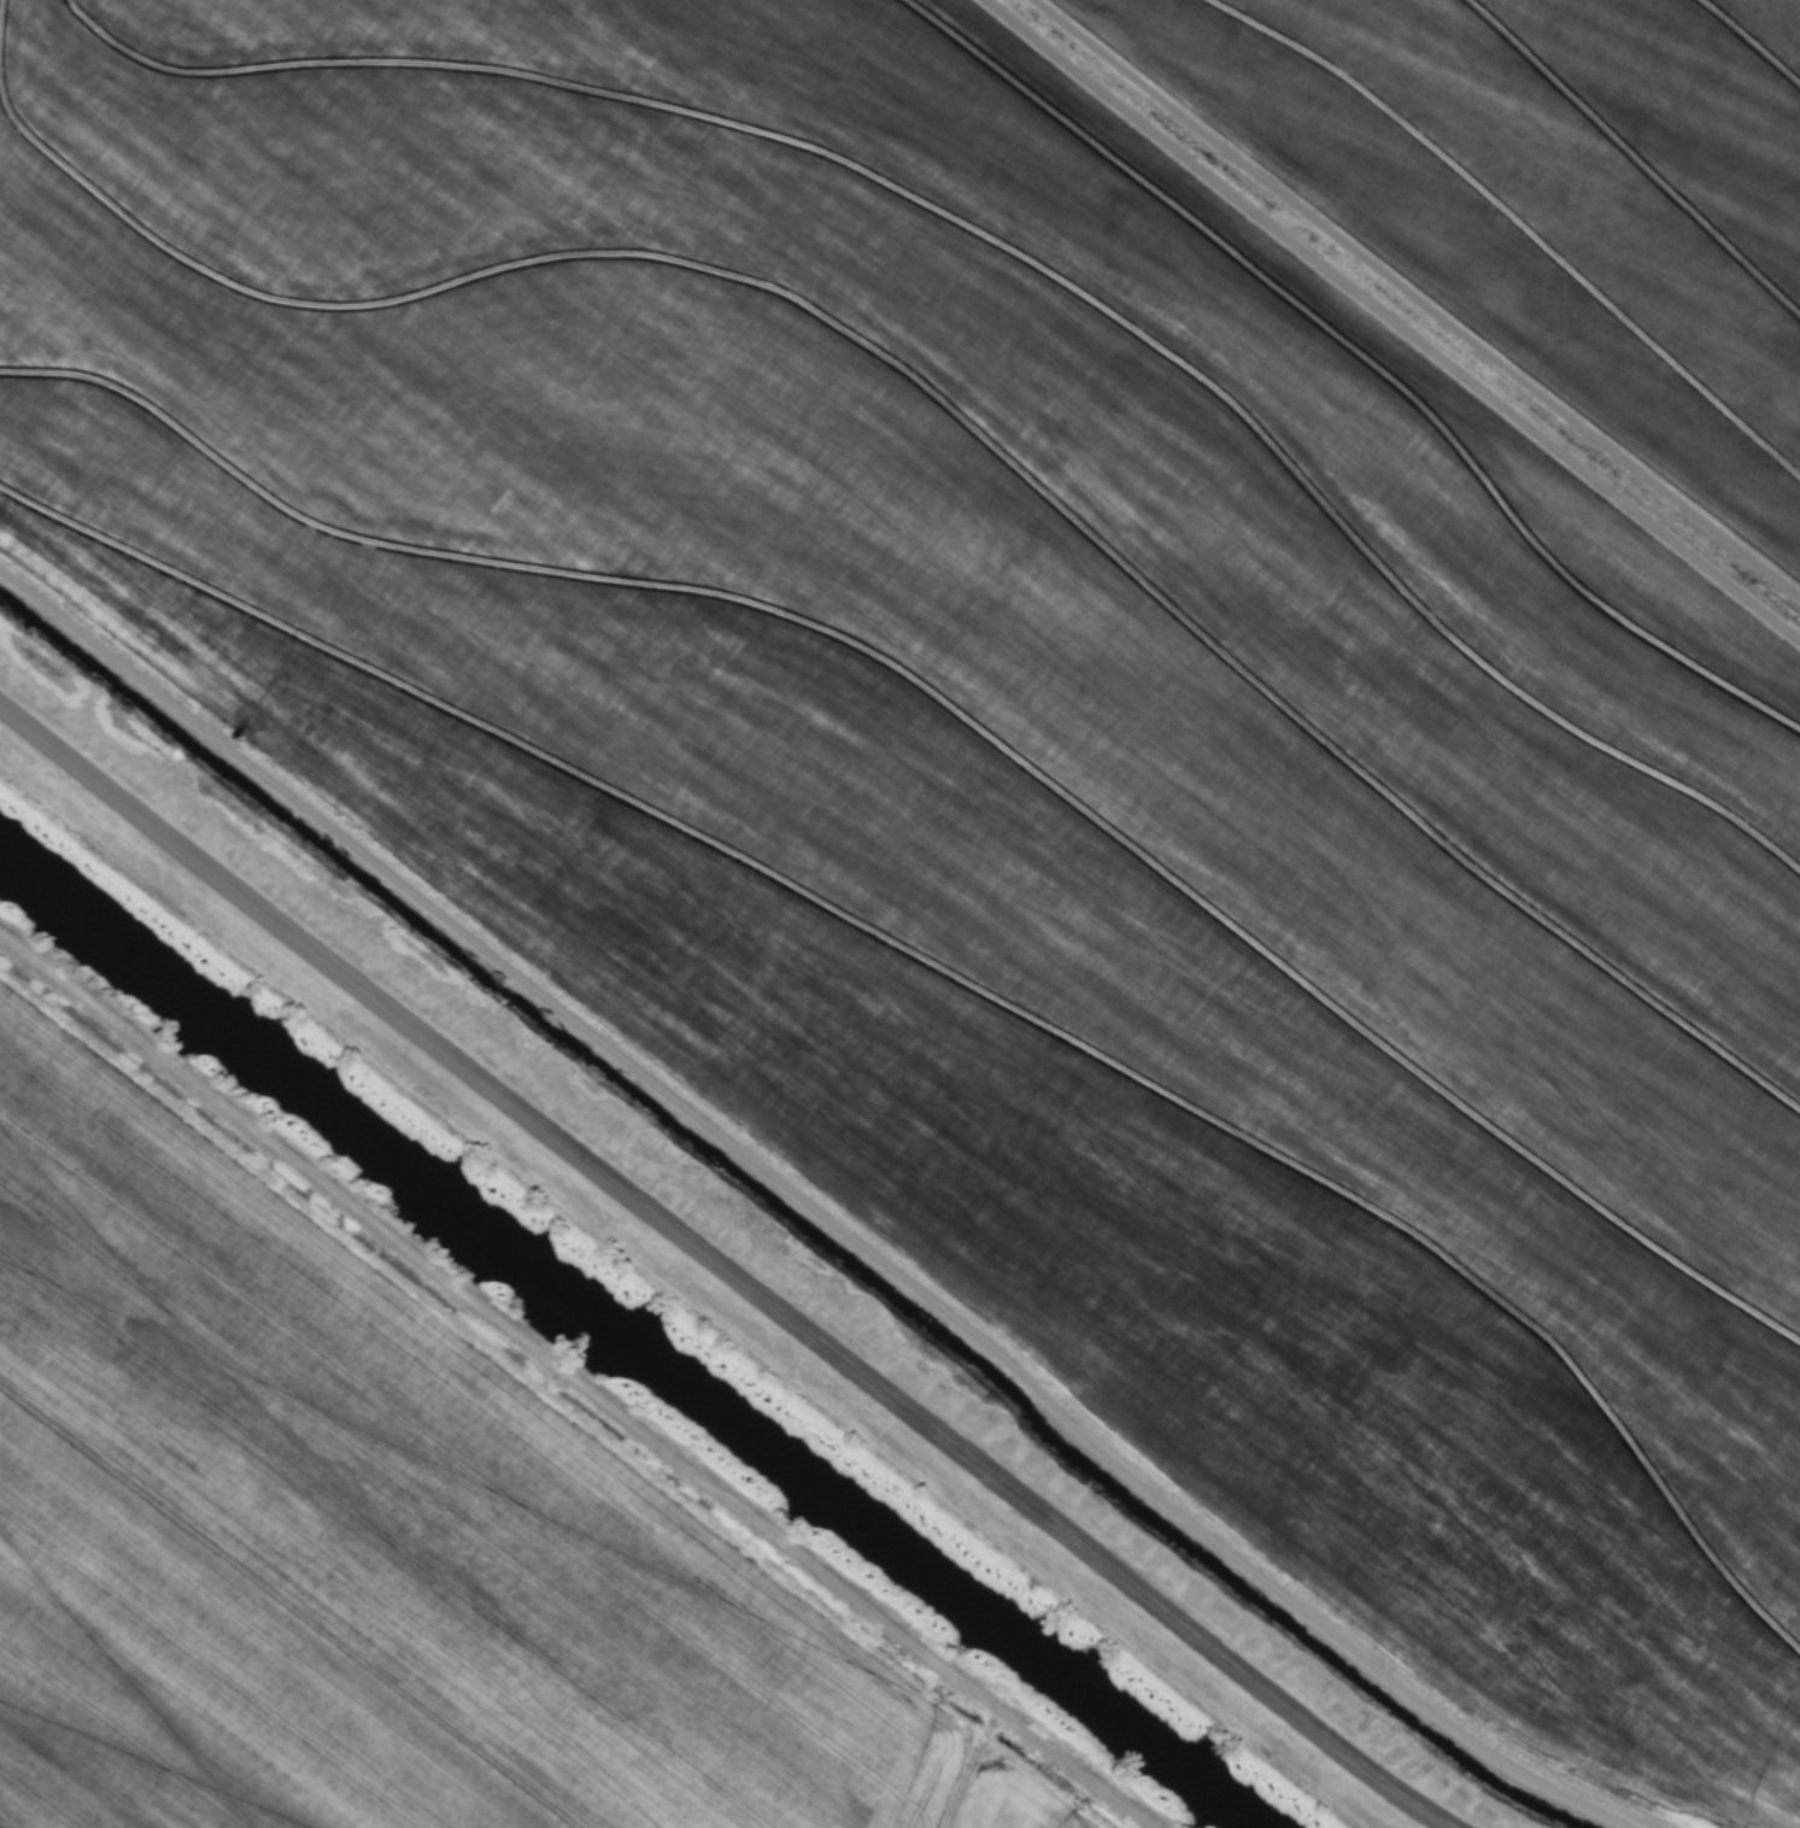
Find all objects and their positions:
crop: (1042, 722)
road: (722, 1269)

